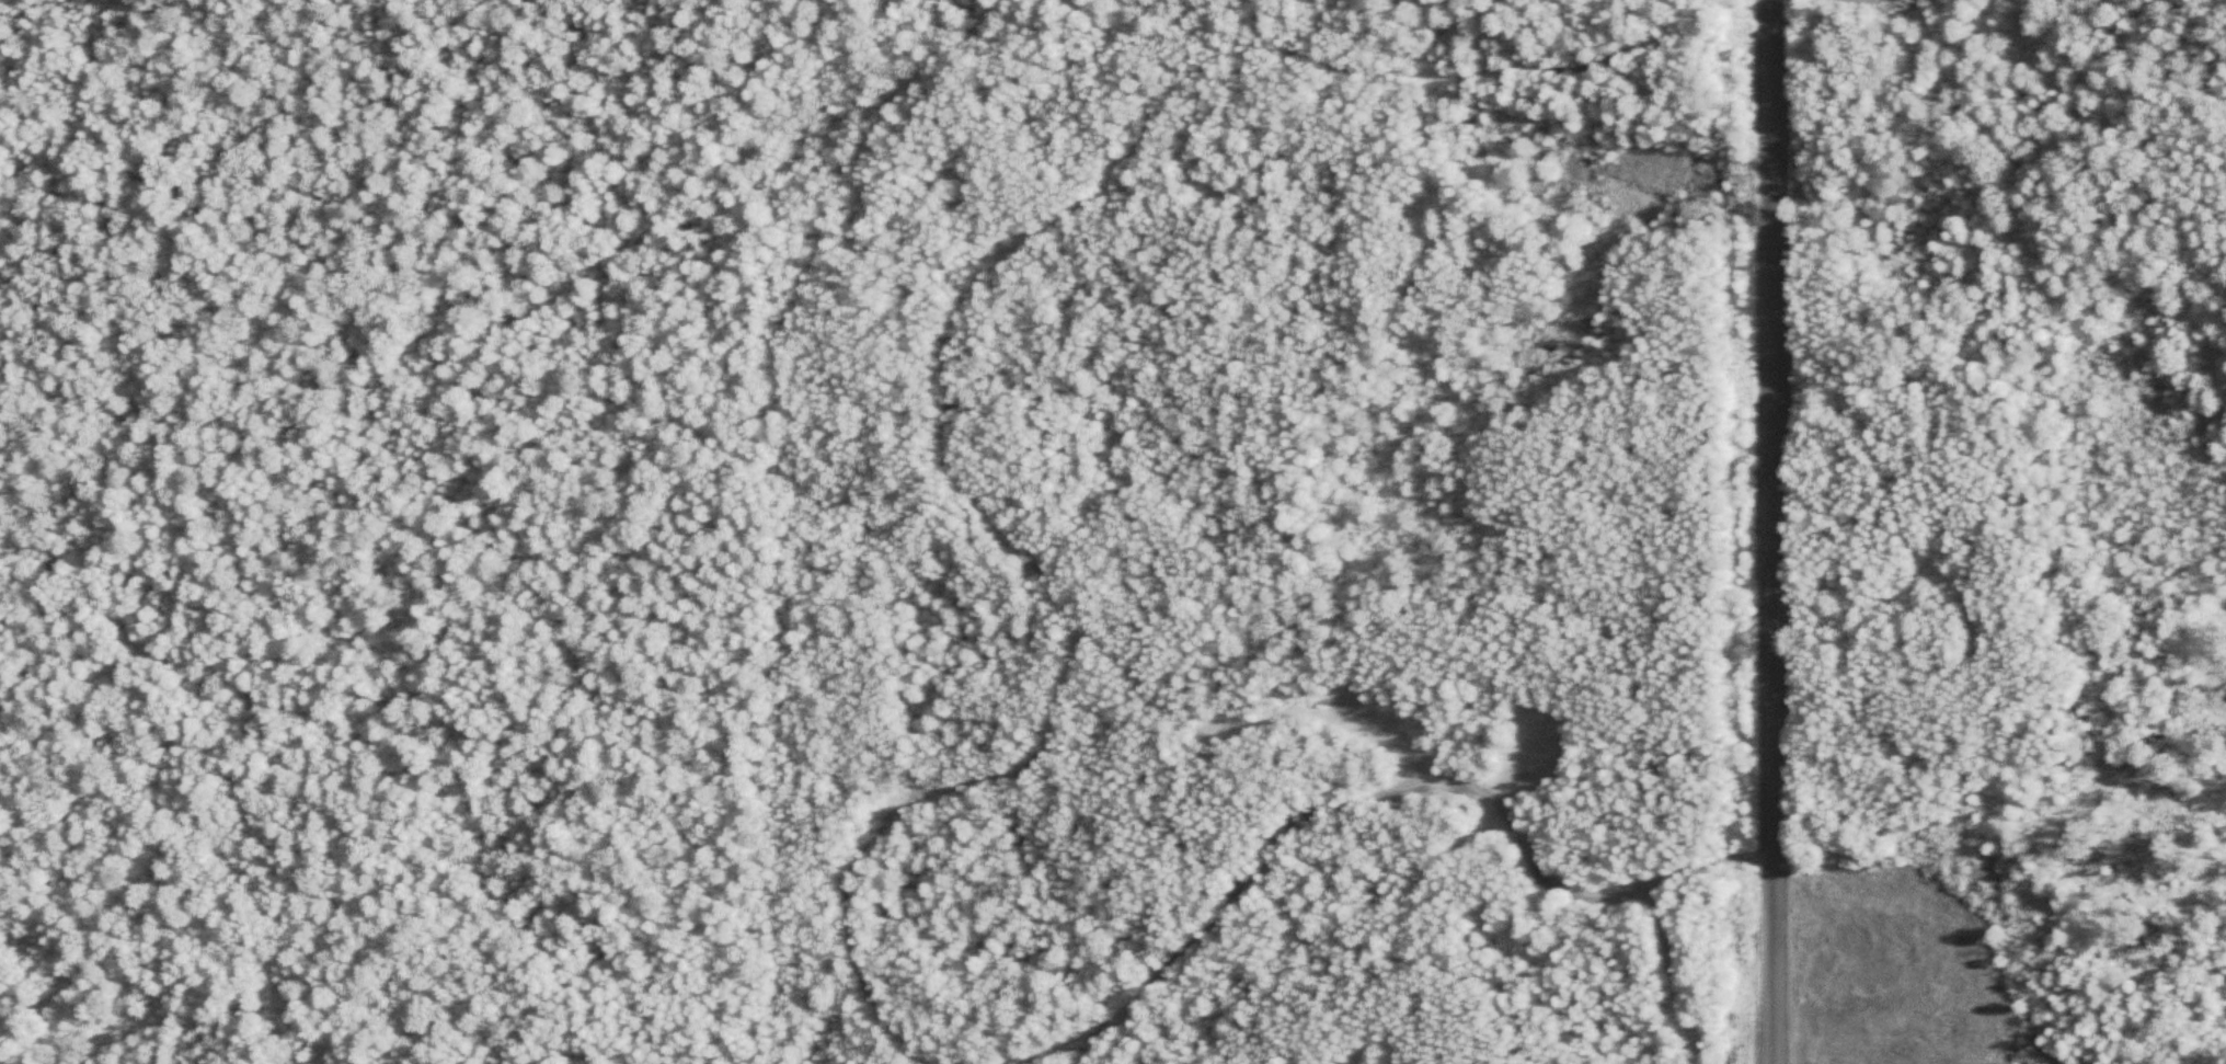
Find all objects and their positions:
road: (1777, 531)

